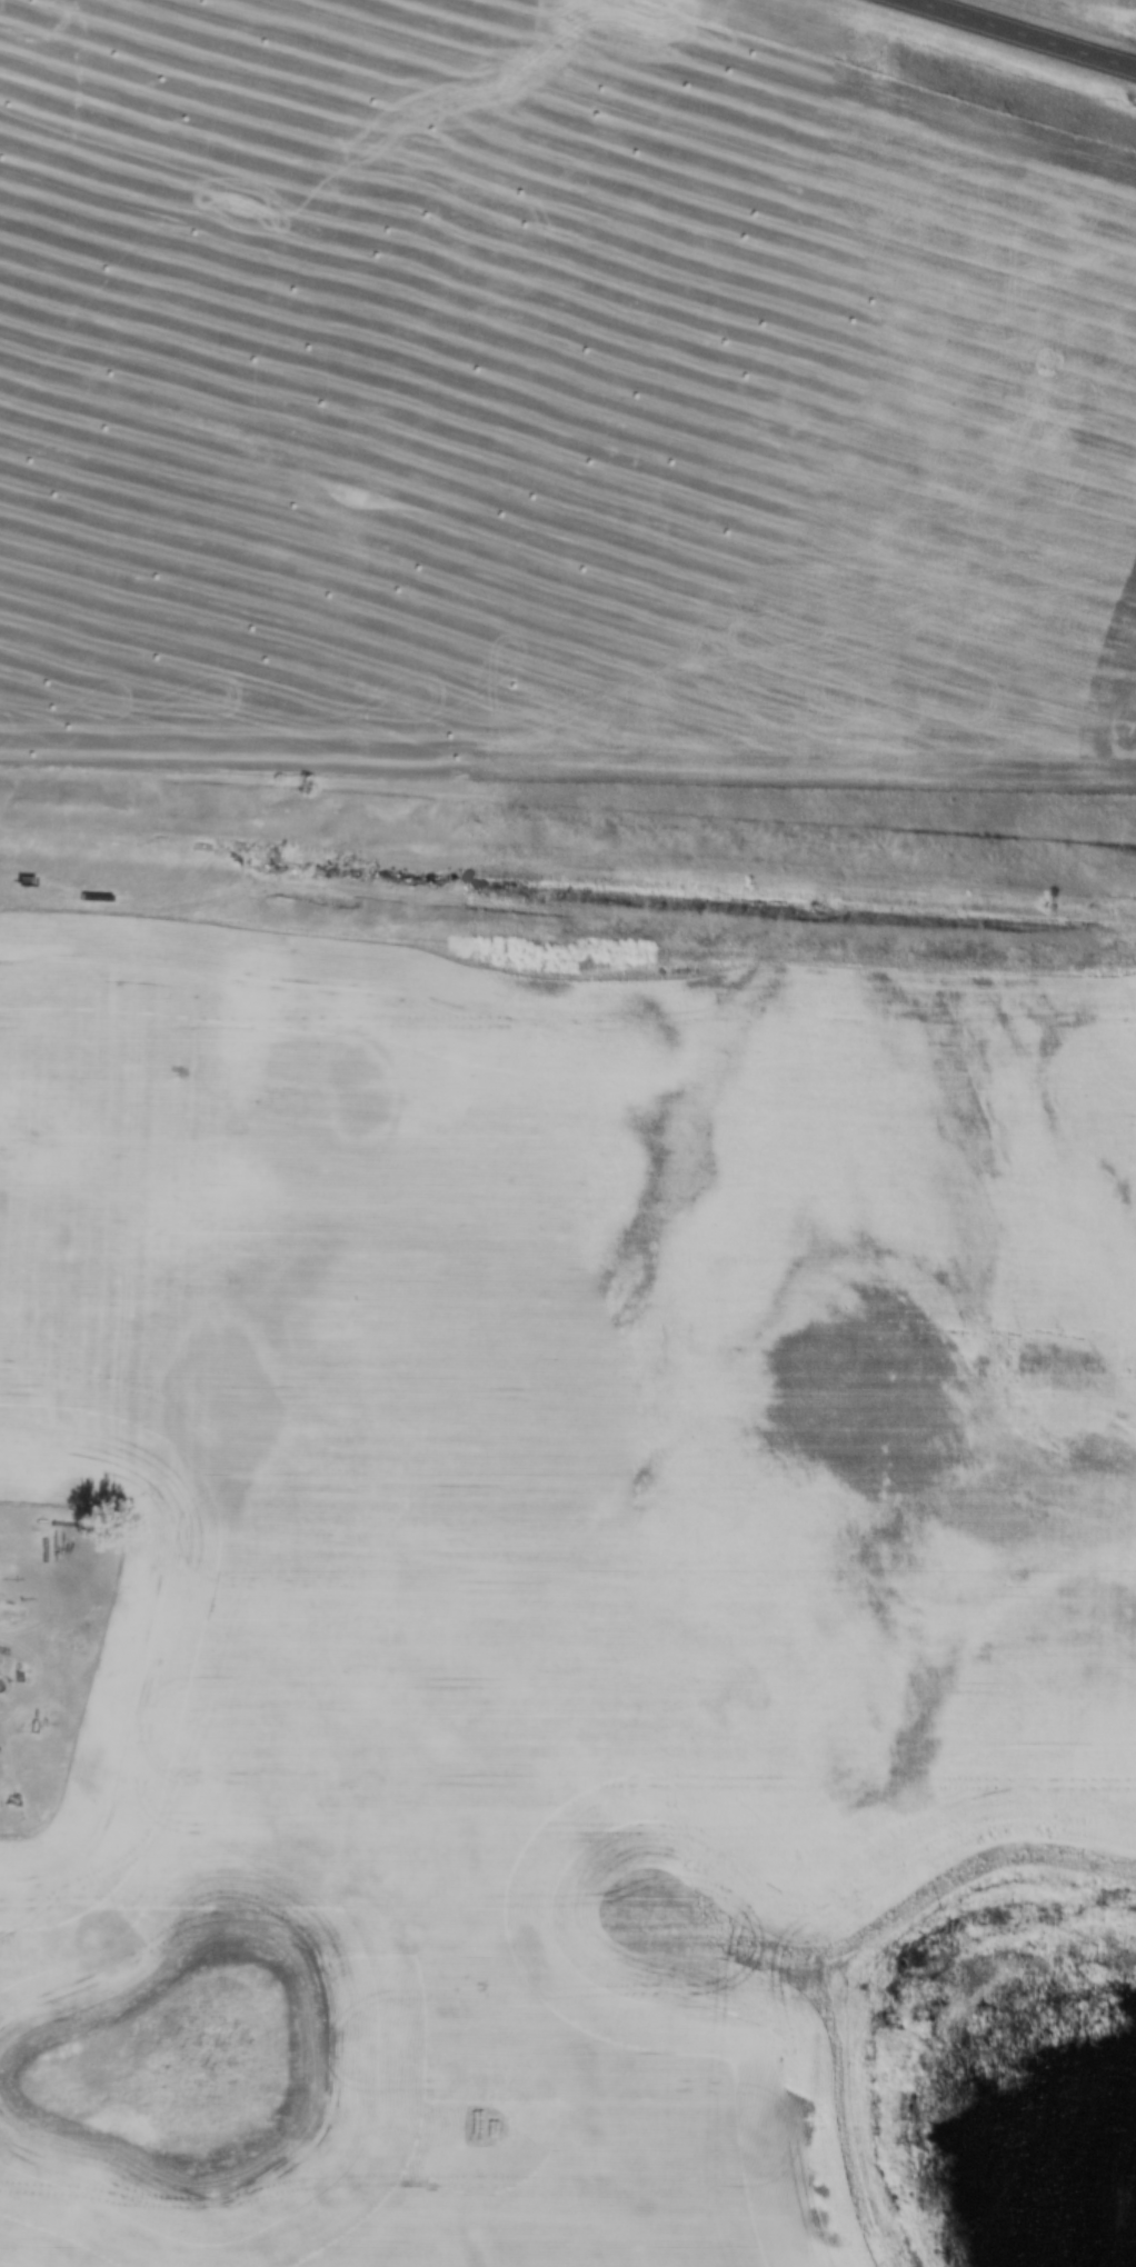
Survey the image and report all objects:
road: (1013, 37)

